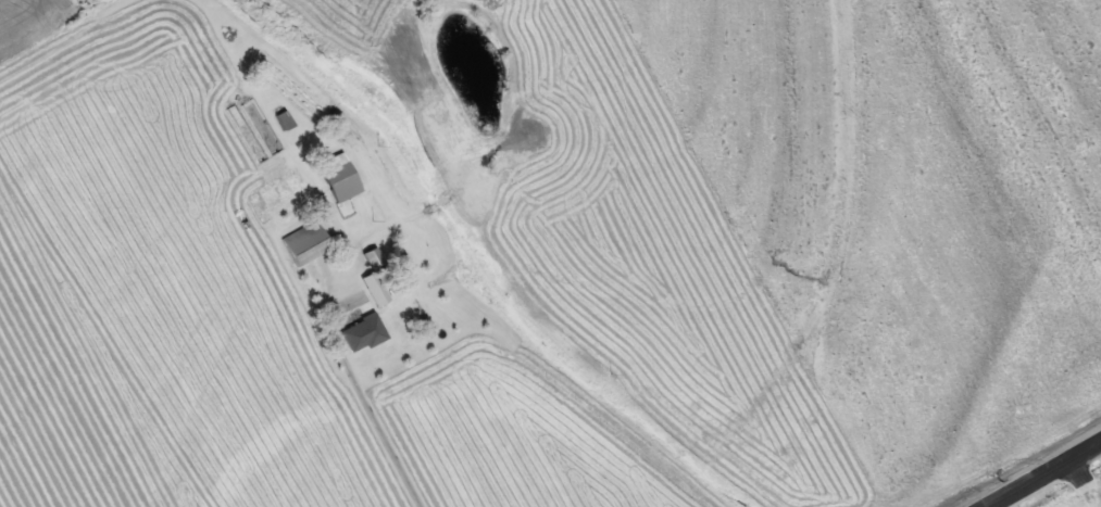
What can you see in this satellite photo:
building: (341, 181)
crop: (821, 226)
building: (305, 242)
building: (375, 263)
crop: (158, 279)
building: (379, 294)
building: (363, 332)
crop: (514, 421)
road: (389, 446)
road: (1039, 471)
crop: (1097, 492)

